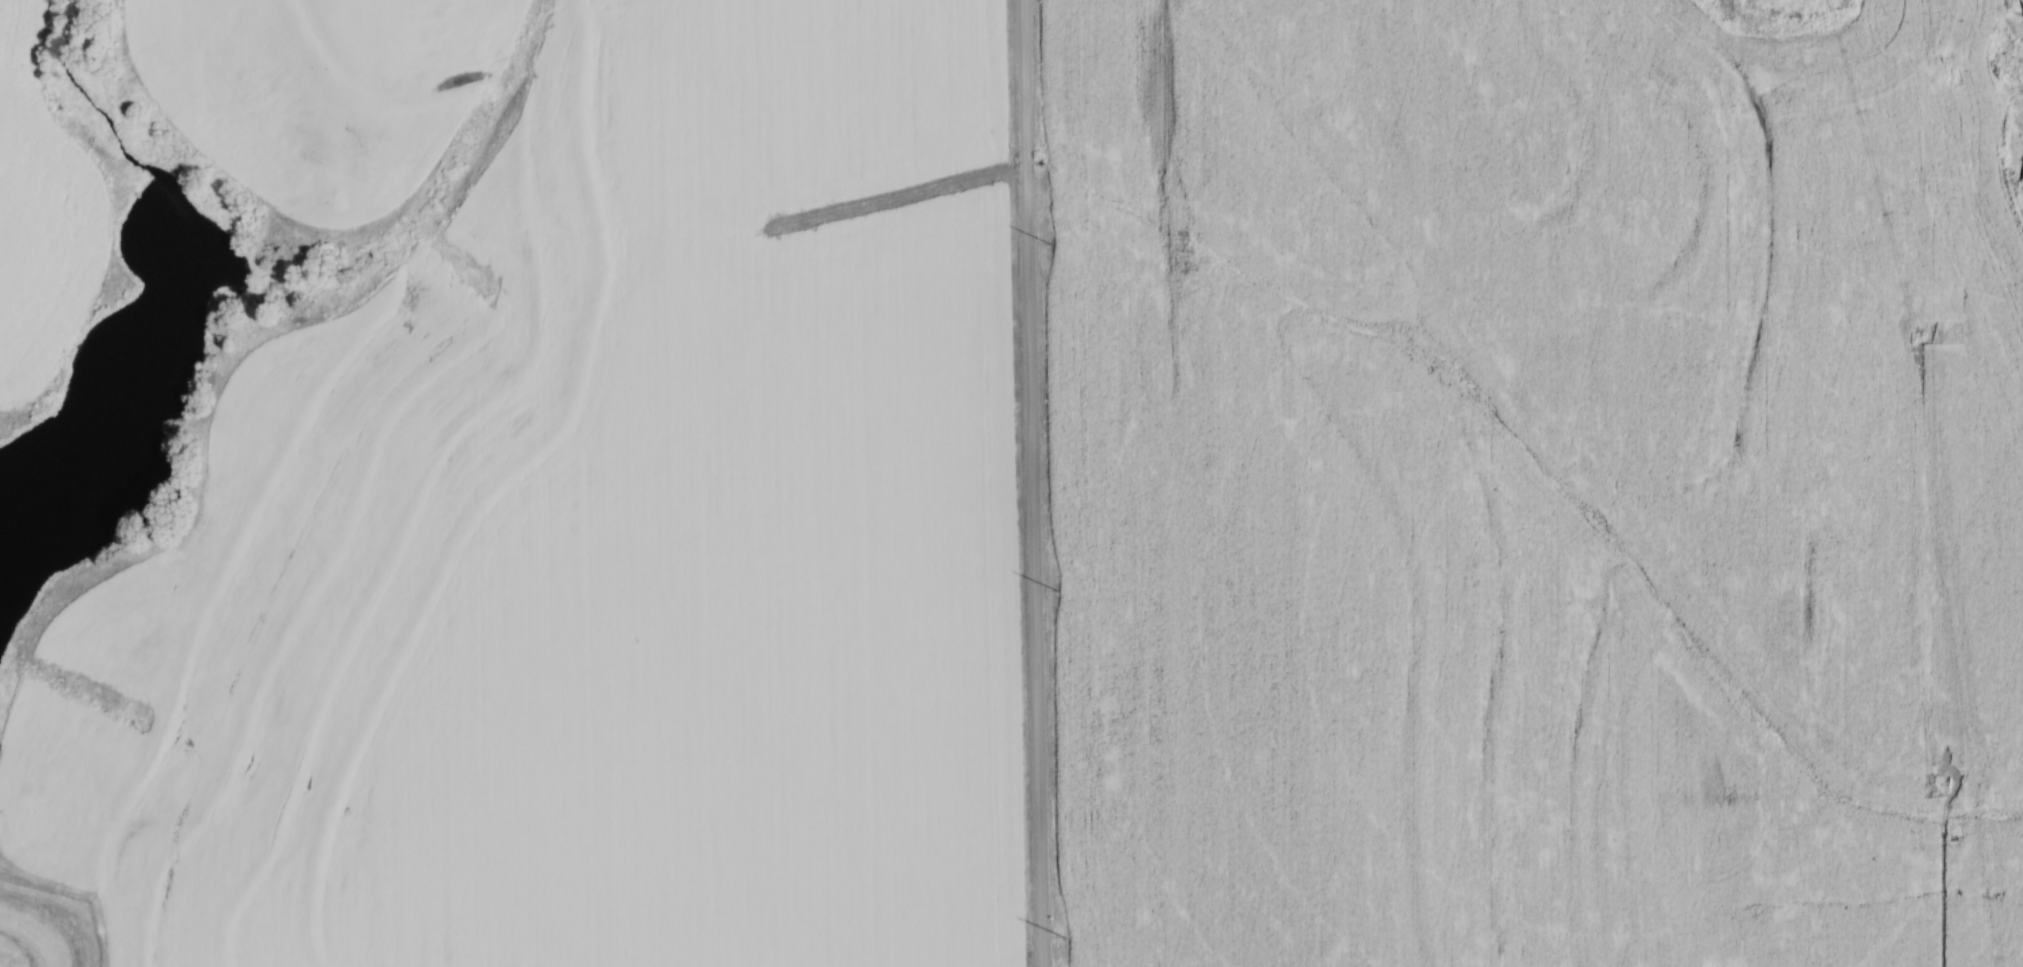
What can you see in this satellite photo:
road: (1037, 483)

